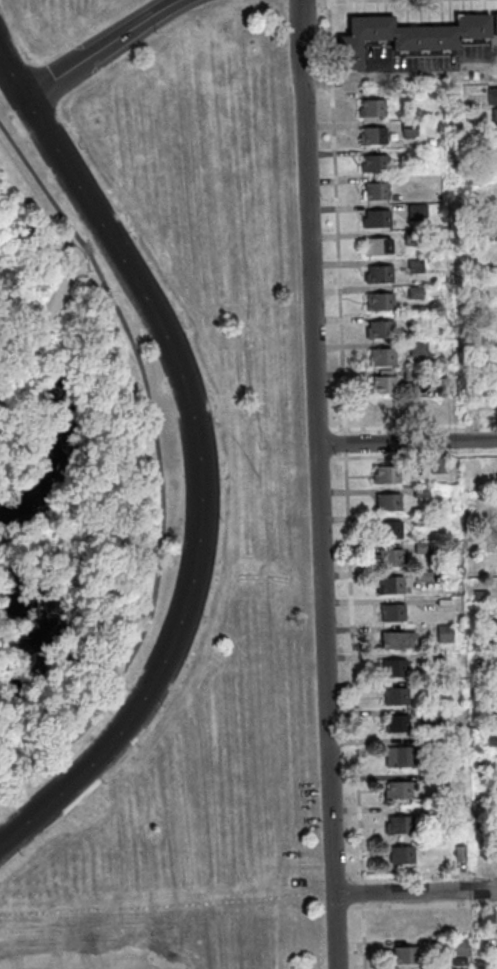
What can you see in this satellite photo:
building: (494, 27)
building: (406, 39)
road: (100, 48)
road: (401, 78)
building: (492, 99)
building: (372, 111)
building: (495, 120)
building: (409, 130)
building: (373, 138)
building: (495, 144)
building: (413, 157)
building: (374, 166)
building: (376, 192)
building: (417, 214)
building: (376, 220)
road: (336, 228)
building: (412, 240)
building: (62, 242)
building: (378, 249)
building: (415, 268)
building: (483, 273)
building: (379, 277)
building: (415, 294)
building: (379, 303)
road: (51, 308)
building: (413, 322)
building: (380, 332)
building: (418, 351)
building: (382, 359)
building: (411, 376)
building: (383, 387)
building: (384, 412)
building: (444, 417)
road: (420, 425)
road: (405, 442)
road: (195, 460)
road: (157, 462)
building: (437, 468)
building: (385, 477)
road: (316, 484)
park: (143, 494)
building: (421, 494)
building: (388, 504)
building: (421, 522)
building: (389, 533)
building: (422, 550)
building: (390, 561)
building: (423, 578)
building: (390, 588)
building: (480, 598)
building: (392, 615)
building: (481, 622)
building: (445, 636)
road: (351, 637)
building: (393, 643)
building: (483, 646)
building: (432, 663)
building: (483, 670)
building: (394, 671)
building: (427, 689)
building: (396, 699)
building: (430, 718)
building: (485, 719)
building: (396, 727)
building: (492, 743)
building: (431, 744)
building: (401, 761)
building: (485, 769)
building: (427, 778)
building: (398, 794)
building: (492, 794)
parking lot: (81, 804)
building: (487, 816)
building: (398, 827)
building: (460, 856)
building: (401, 858)
road: (421, 875)
road: (339, 877)
road: (414, 891)
road: (421, 904)
road: (340, 907)
building: (488, 915)
building: (404, 925)
building: (457, 948)
building: (490, 953)
building: (403, 955)
building: (458, 968)

